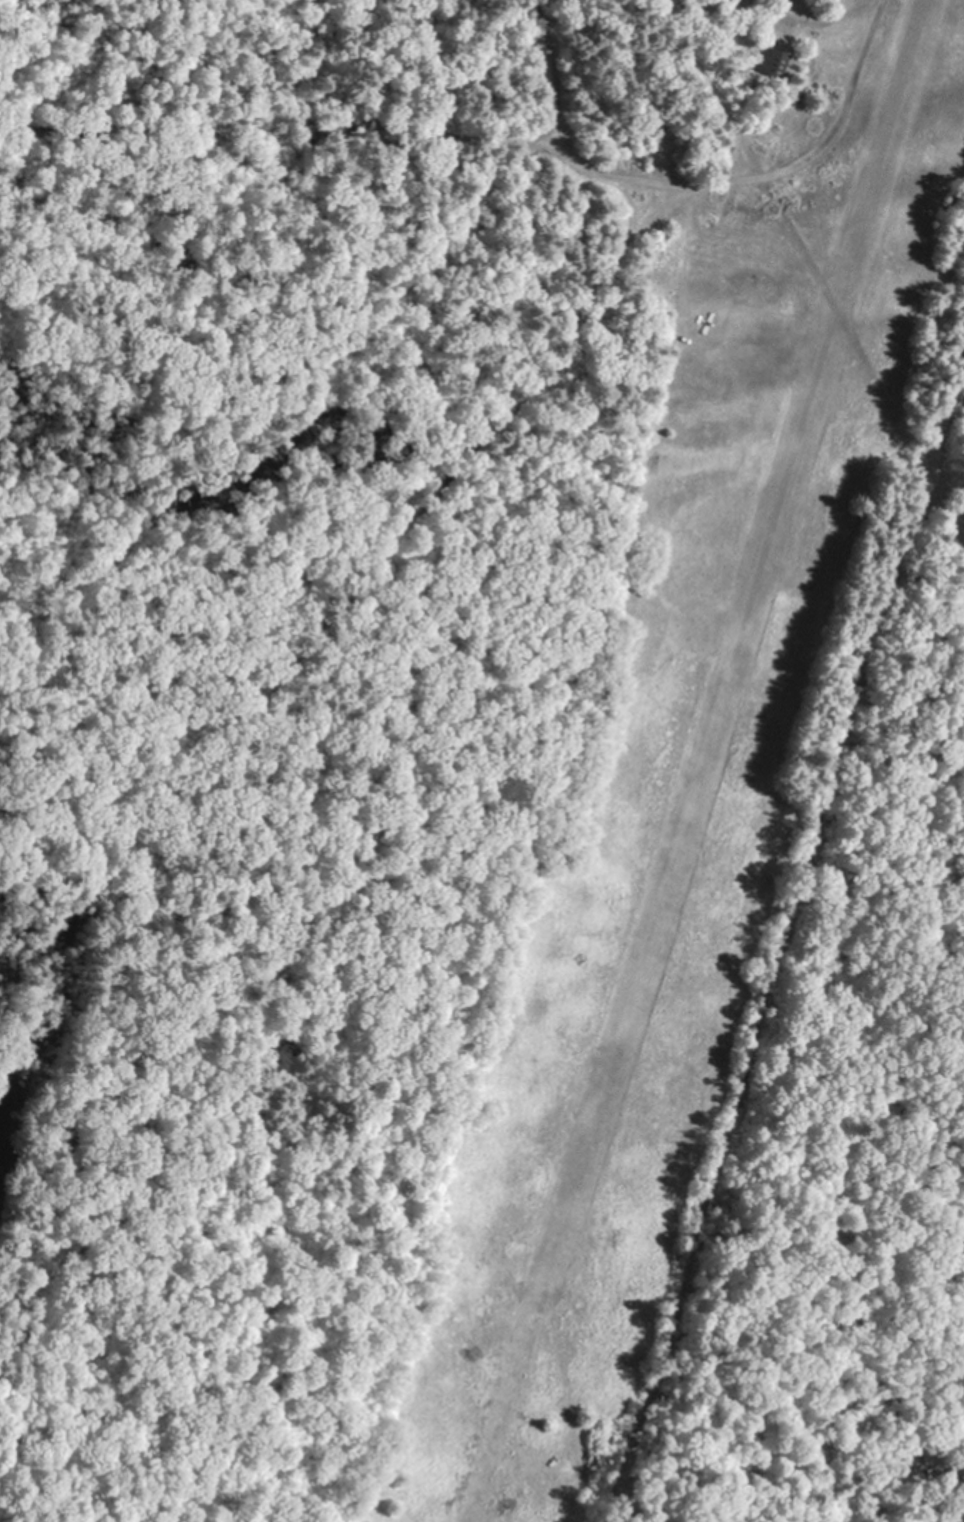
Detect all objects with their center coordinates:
building: (771, 63)
road: (547, 75)
road: (315, 100)
road: (798, 156)
road: (943, 451)
airport runway: (728, 690)
road: (298, 726)
airport: (638, 842)
road: (786, 950)

